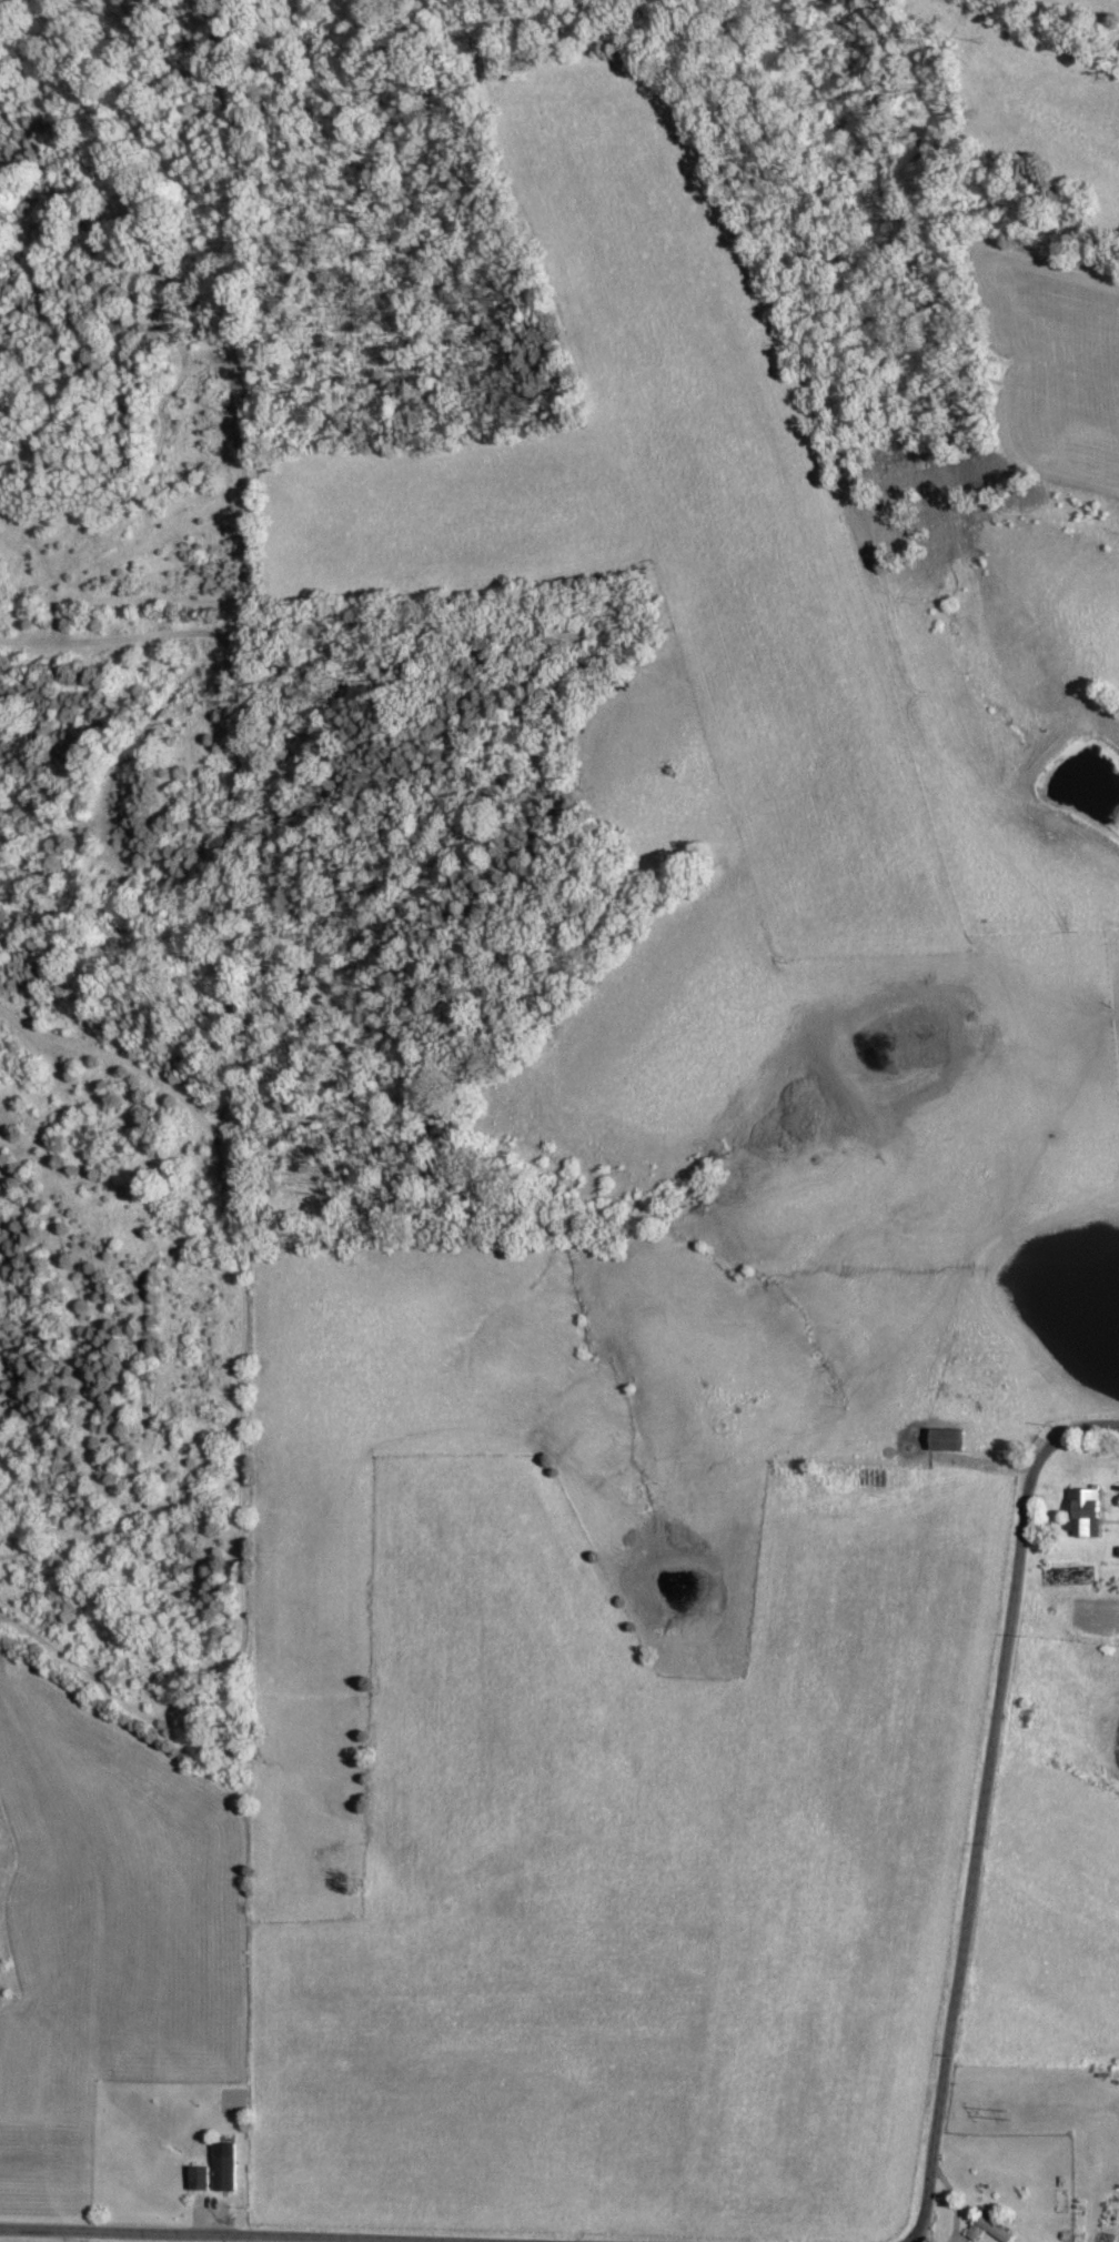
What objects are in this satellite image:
building: (950, 1440)
building: (1088, 1512)
road: (984, 1807)
building: (224, 2168)
building: (199, 2180)
building: (975, 2233)
road: (218, 2234)

